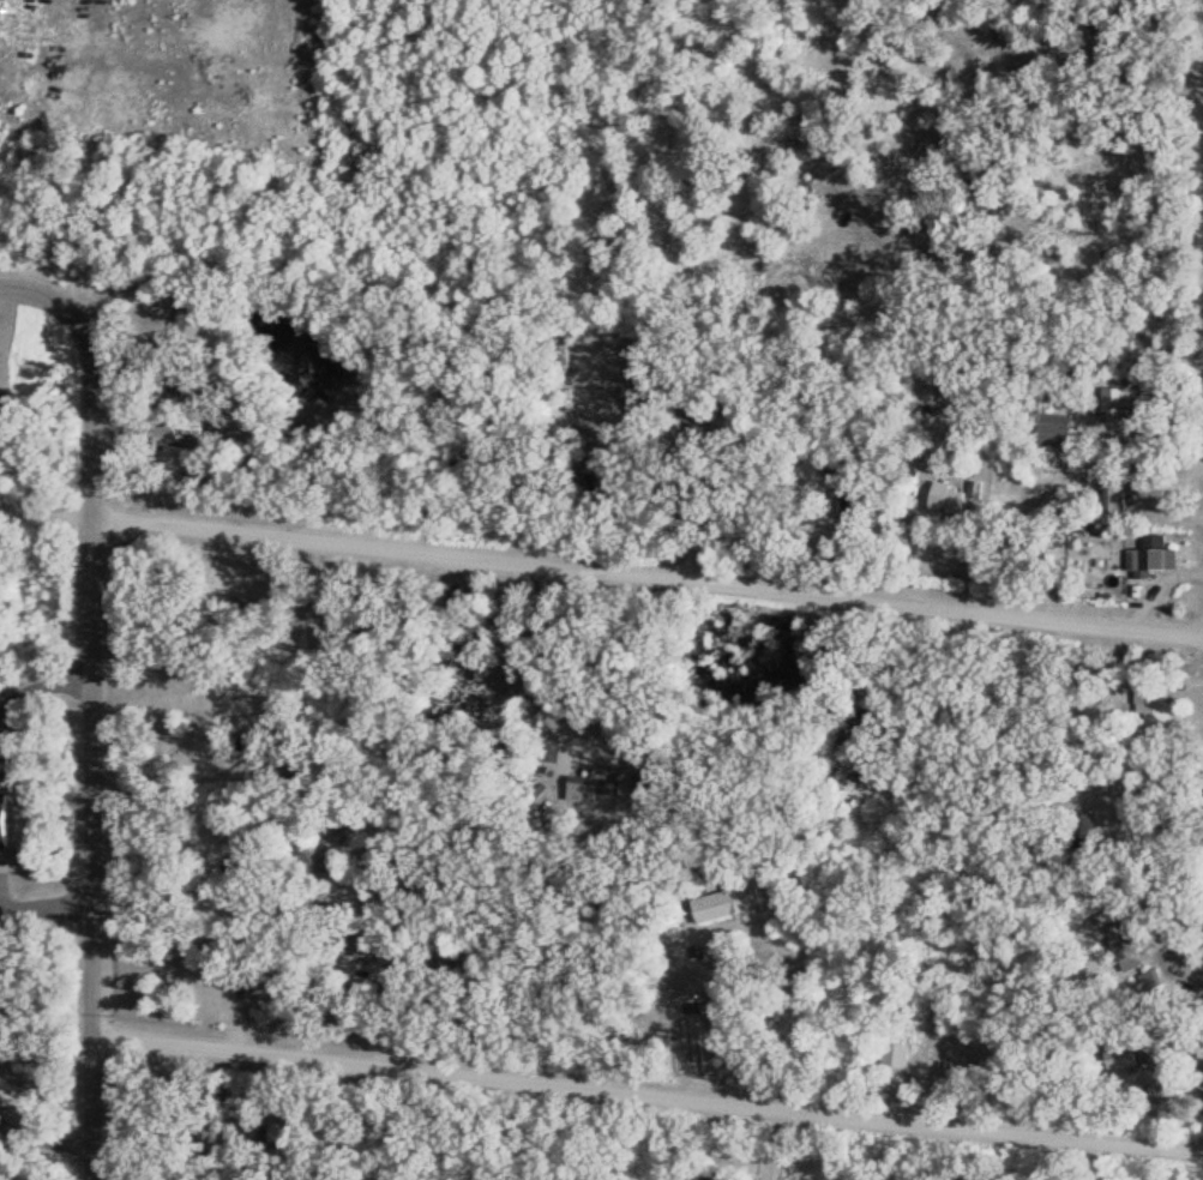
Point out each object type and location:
building: (998, 65)
building: (988, 186)
road: (35, 290)
building: (197, 313)
building: (954, 393)
building: (1119, 403)
building: (1059, 427)
building: (852, 468)
building: (957, 495)
building: (849, 508)
road: (648, 578)
road: (94, 736)
building: (333, 859)
building: (732, 901)
building: (369, 938)
building: (1127, 945)
building: (240, 971)
building: (896, 1052)
building: (954, 1076)
road: (648, 1092)
building: (718, 1175)

